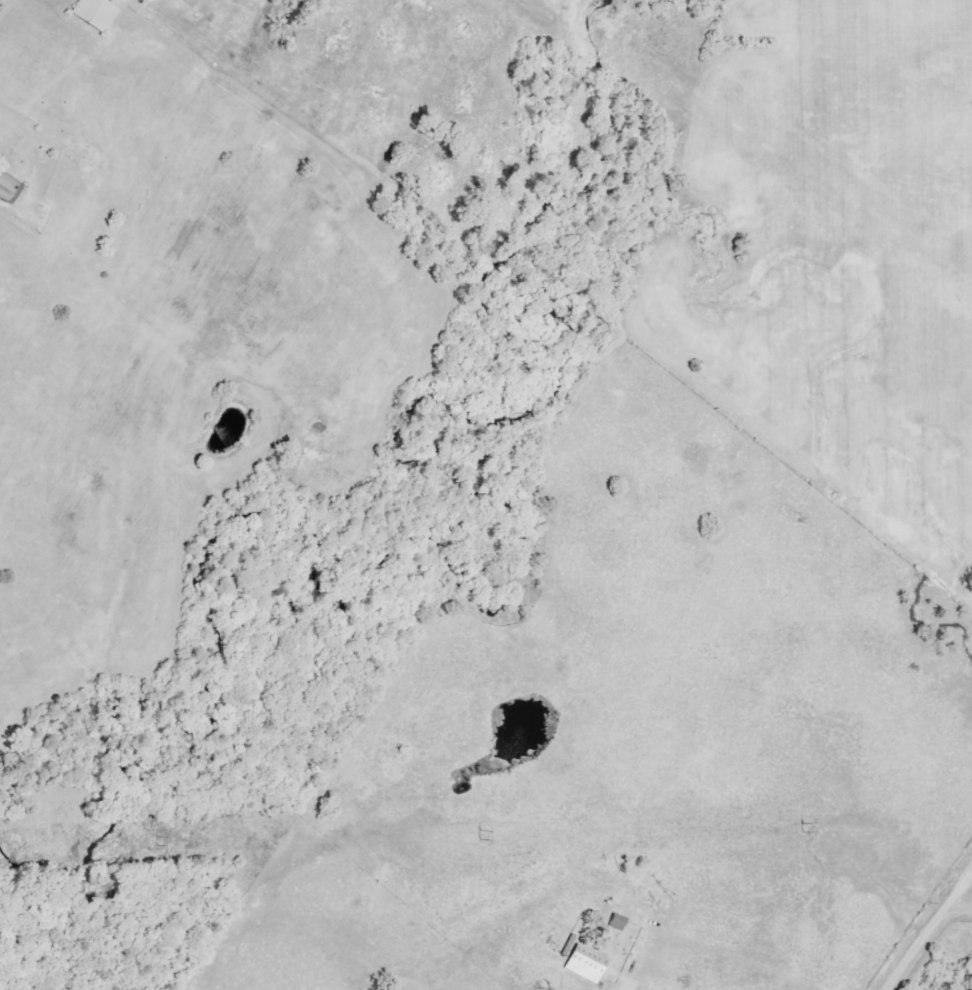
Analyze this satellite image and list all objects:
building: (95, 14)
building: (8, 189)
power tower: (798, 829)
power tower: (476, 837)
power tower: (156, 842)
building: (616, 922)
road: (927, 928)
building: (583, 960)

